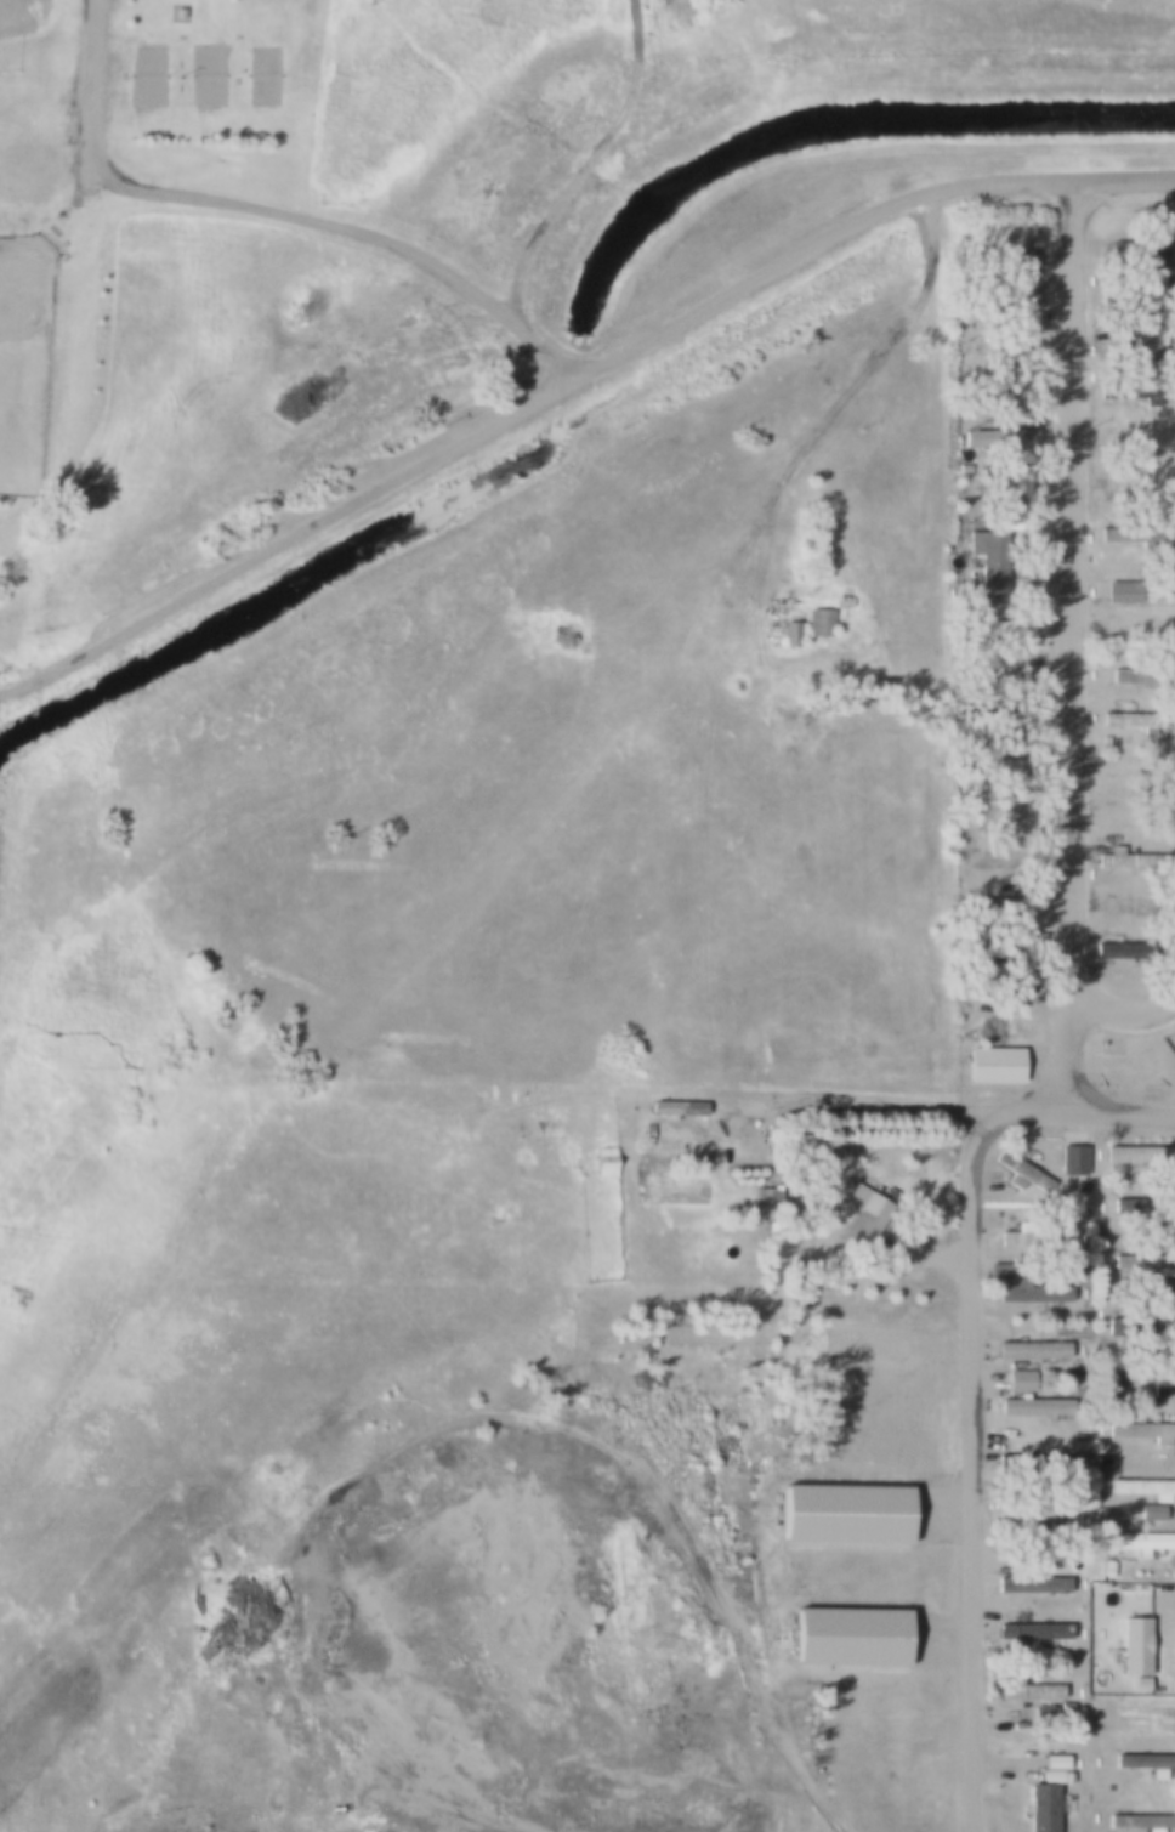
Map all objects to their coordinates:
building: (177, 13)
park: (147, 76)
park: (206, 76)
park: (262, 78)
park: (32, 101)
road: (596, 166)
road: (1126, 182)
road: (280, 211)
road: (813, 248)
building: (1130, 249)
building: (997, 254)
building: (1134, 295)
building: (995, 299)
building: (1128, 351)
park: (25, 362)
building: (999, 391)
building: (1131, 392)
building: (997, 438)
building: (963, 469)
building: (1004, 488)
building: (1130, 533)
road: (286, 540)
building: (990, 566)
building: (1117, 591)
building: (842, 601)
building: (818, 623)
building: (1001, 629)
building: (790, 633)
road: (1074, 633)
building: (1135, 676)
building: (1015, 677)
building: (999, 719)
building: (1133, 722)
building: (1001, 765)
building: (997, 809)
building: (1128, 860)
building: (1001, 904)
building: (1128, 951)
building: (997, 952)
road: (1080, 1047)
building: (992, 1065)
building: (637, 1071)
road: (885, 1099)
building: (676, 1107)
road: (1100, 1108)
building: (810, 1150)
building: (1139, 1153)
building: (604, 1161)
building: (1071, 1161)
building: (1022, 1172)
building: (1118, 1179)
building: (1079, 1186)
building: (761, 1199)
building: (773, 1202)
building: (1142, 1204)
building: (1079, 1213)
building: (863, 1214)
building: (1026, 1236)
building: (1145, 1263)
building: (1157, 1286)
building: (1021, 1287)
building: (1140, 1328)
building: (1029, 1350)
building: (1142, 1377)
building: (1018, 1382)
building: (1032, 1406)
building: (1141, 1430)
building: (1074, 1446)
road: (975, 1454)
building: (1100, 1461)
building: (1034, 1464)
building: (1141, 1487)
building: (1099, 1511)
building: (1150, 1513)
building: (841, 1514)
building: (1034, 1514)
building: (1140, 1541)
building: (1106, 1567)
building: (1029, 1584)
quarry: (432, 1615)
road: (751, 1615)
building: (1031, 1632)
building: (847, 1638)
building: (1133, 1646)
building: (1027, 1691)
building: (1145, 1712)
building: (1054, 1762)
building: (1146, 1763)
road: (1006, 1773)
road: (465, 1791)
building: (1040, 1803)
building: (1139, 1821)
road: (974, 1830)

